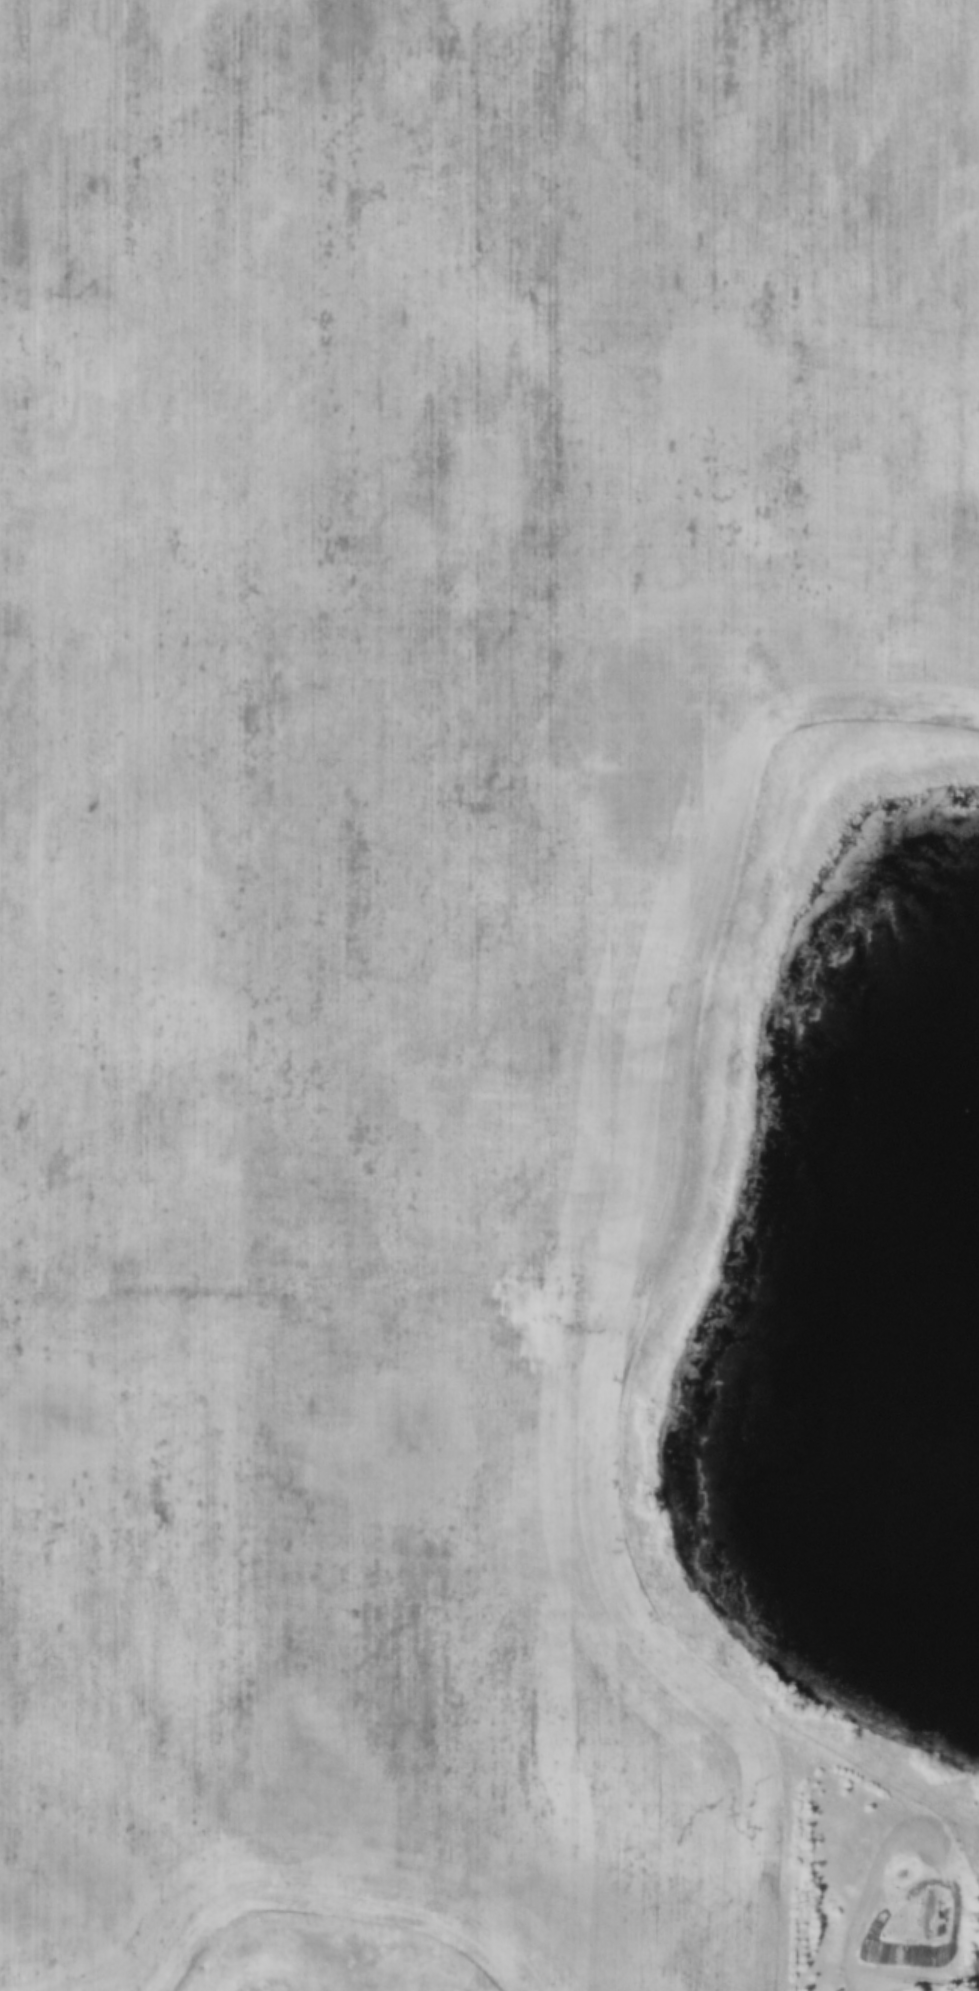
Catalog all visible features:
road: (925, 1982)

